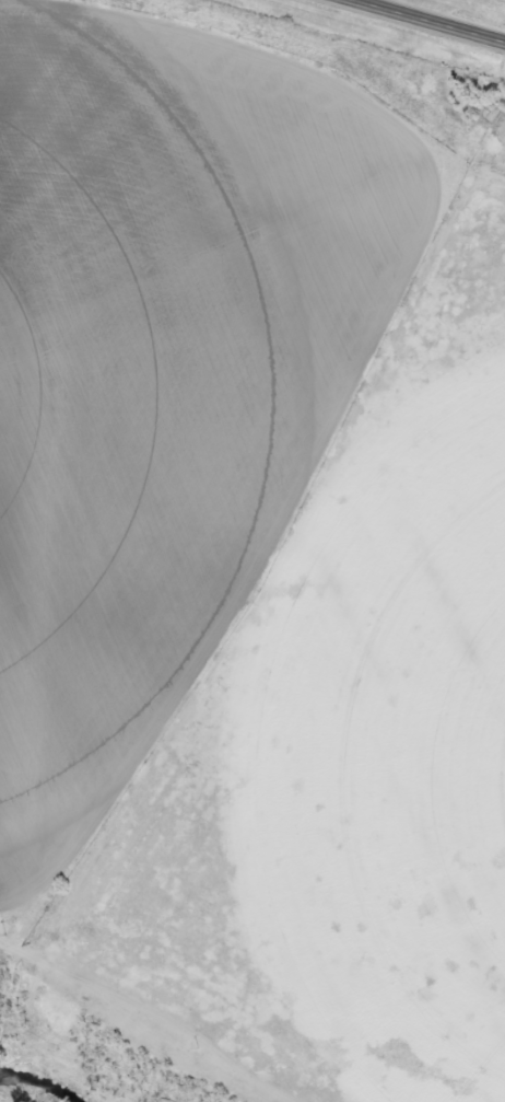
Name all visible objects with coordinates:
road: (431, 21)
road: (207, 1016)

